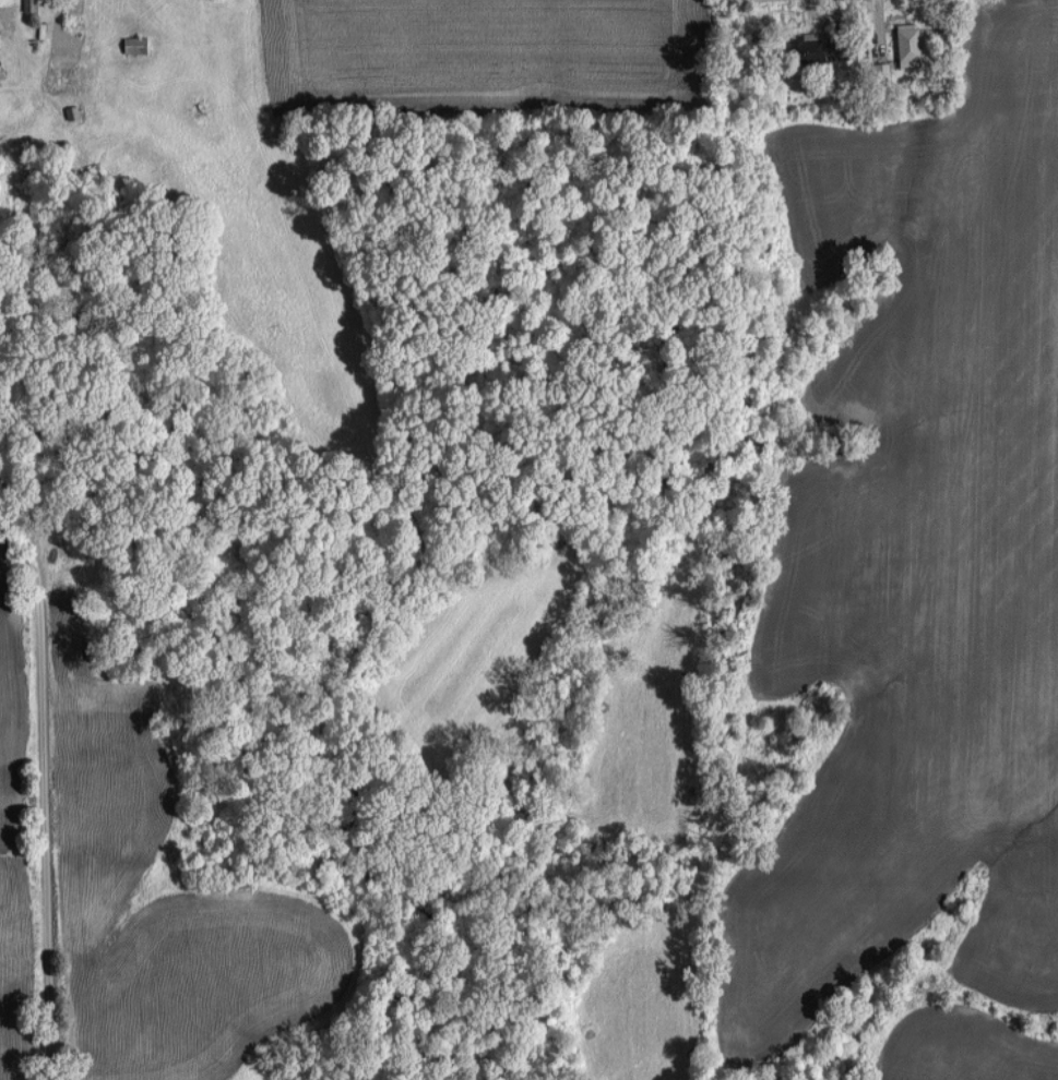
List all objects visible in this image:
building: (33, 4)
building: (912, 43)
building: (813, 49)
road: (43, 771)

